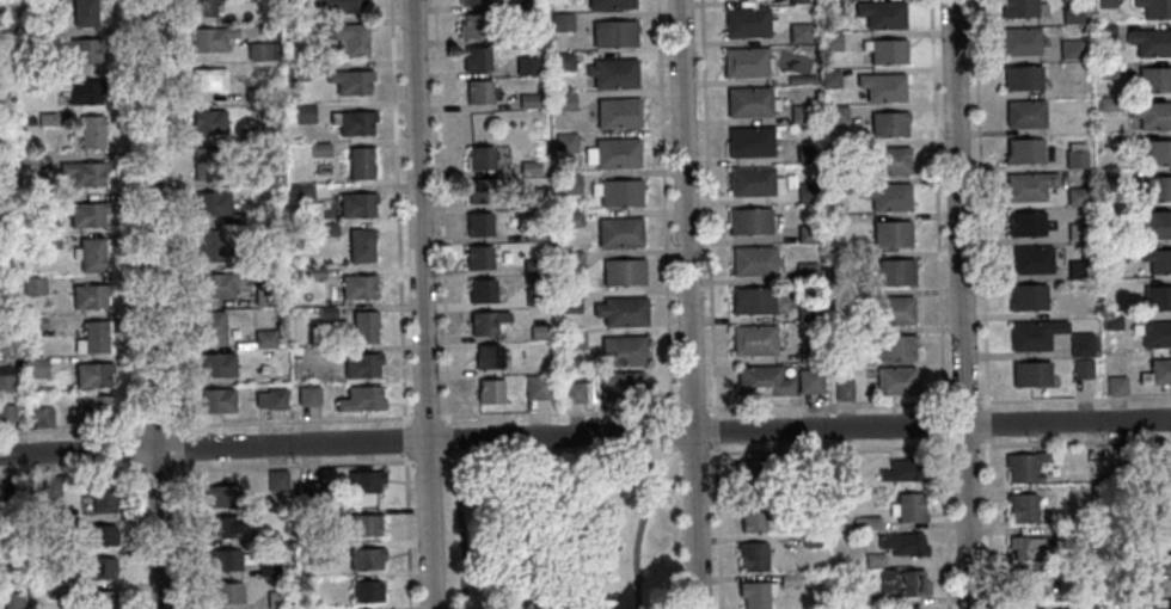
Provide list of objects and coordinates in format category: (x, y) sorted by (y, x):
building: (472, 1)
building: (799, 1)
building: (522, 4)
building: (608, 4)
building: (1105, 4)
building: (343, 5)
building: (833, 6)
building: (203, 7)
building: (1022, 7)
building: (1154, 8)
building: (84, 12)
building: (883, 13)
building: (1071, 14)
building: (1, 19)
building: (560, 21)
building: (749, 23)
building: (474, 26)
building: (613, 32)
building: (801, 32)
building: (1104, 32)
building: (525, 33)
building: (26, 38)
building: (210, 38)
building: (350, 38)
building: (833, 41)
building: (1020, 41)
building: (1151, 42)
building: (1071, 49)
building: (888, 50)
building: (82, 51)
building: (262, 51)
building: (476, 59)
building: (562, 61)
building: (747, 63)
building: (525, 66)
building: (1105, 68)
building: (295, 70)
building: (613, 72)
building: (45, 78)
building: (830, 78)
building: (1022, 78)
building: (803, 79)
building: (1154, 79)
building: (350, 80)
building: (208, 81)
building: (884, 85)
building: (81, 90)
building: (478, 92)
building: (255, 94)
building: (527, 100)
building: (563, 100)
building: (752, 101)
building: (1108, 104)
building: (305, 112)
building: (618, 112)
building: (802, 113)
building: (1025, 113)
building: (838, 115)
building: (1152, 115)
building: (45, 119)
building: (354, 121)
building: (207, 123)
building: (890, 123)
building: (92, 133)
building: (250, 136)
building: (752, 141)
building: (565, 143)
building: (848, 146)
building: (319, 149)
building: (1024, 150)
building: (613, 152)
building: (808, 152)
building: (1159, 152)
building: (1075, 155)
building: (480, 156)
building: (30, 159)
building: (893, 159)
building: (362, 161)
building: (206, 162)
building: (528, 167)
building: (82, 172)
building: (755, 182)
building: (568, 184)
building: (838, 185)
building: (1029, 185)
building: (1154, 187)
building: (480, 191)
building: (808, 191)
building: (617, 192)
building: (301, 193)
building: (889, 196)
building: (1075, 196)
building: (531, 198)
building: (211, 203)
building: (356, 203)
road: (664, 210)
building: (85, 213)
building: (262, 213)
road: (441, 213)
road: (398, 214)
road: (129, 217)
road: (172, 217)
building: (570, 219)
building: (752, 221)
building: (1025, 223)
building: (478, 224)
building: (1154, 224)
building: (327, 229)
building: (619, 232)
building: (809, 232)
building: (1077, 232)
building: (893, 233)
building: (533, 234)
building: (48, 241)
building: (360, 244)
building: (210, 246)
building: (1112, 248)
building: (92, 253)
building: (478, 257)
building: (270, 259)
building: (1032, 259)
building: (571, 260)
building: (756, 260)
building: (842, 260)
building: (1158, 260)
building: (4, 264)
building: (533, 265)
building: (1078, 269)
building: (808, 270)
building: (314, 272)
building: (623, 272)
building: (894, 272)
building: (215, 284)
building: (36, 285)
building: (358, 285)
building: (482, 290)
building: (845, 294)
building: (91, 295)
building: (266, 296)
building: (534, 296)
building: (1028, 297)
building: (1157, 297)
building: (754, 300)
building: (569, 301)
road: (983, 303)
road: (152, 304)
road: (422, 304)
road: (688, 304)
road: (711, 304)
road: (940, 304)
road: (960, 304)
building: (809, 309)
building: (894, 309)
building: (621, 310)
building: (327, 312)
building: (1111, 321)
building: (486, 322)
building: (35, 324)
building: (364, 326)
building: (211, 327)
building: (538, 332)
building: (1035, 333)
building: (1155, 333)
building: (844, 334)
building: (92, 337)
building: (572, 338)
building: (265, 339)
building: (280, 339)
building: (755, 340)
building: (1080, 344)
building: (897, 347)
building: (623, 350)
building: (810, 350)
building: (295, 356)
building: (488, 357)
building: (217, 364)
building: (362, 364)
building: (36, 368)
building: (1081, 368)
building: (1157, 371)
building: (93, 374)
building: (1030, 374)
building: (811, 380)
building: (897, 380)
building: (765, 381)
building: (7, 382)
building: (537, 386)
building: (621, 386)
building: (1116, 386)
building: (489, 390)
building: (574, 390)
building: (845, 390)
building: (308, 395)
building: (271, 398)
building: (361, 398)
building: (216, 400)
building: (92, 407)
road: (804, 410)
building: (7, 412)
building: (44, 416)
road: (427, 420)
road: (292, 424)
road: (158, 429)
road: (73, 431)
road: (672, 435)
road: (584, 436)
road: (448, 439)
road: (406, 442)
road: (136, 449)
road: (179, 449)
road: (903, 449)
road: (672, 451)
road: (448, 456)
building: (1118, 456)
road: (443, 461)
building: (842, 462)
building: (1166, 462)
road: (427, 463)
building: (814, 463)
road: (554, 466)
building: (1024, 466)
road: (293, 467)
building: (903, 469)
road: (157, 470)
road: (450, 473)
road: (72, 474)
building: (754, 474)
building: (276, 480)
building: (364, 480)
building: (557, 485)
building: (50, 486)
building: (7, 490)
building: (308, 492)
building: (99, 496)
building: (222, 496)
building: (1169, 499)
building: (784, 500)
building: (1022, 506)
building: (909, 507)
building: (752, 516)
building: (314, 518)
building: (869, 522)
building: (366, 524)
building: (222, 525)
building: (49, 528)
road: (407, 533)
park: (564, 534)
building: (99, 535)
road: (137, 535)
road: (180, 535)
building: (1166, 535)
building: (266, 536)
building: (810, 540)
building: (902, 543)
building: (1029, 547)
building: (315, 549)
building: (752, 555)
building: (366, 556)
building: (227, 559)
building: (873, 560)
building: (99, 567)
building: (1163, 568)
building: (268, 570)
building: (787, 580)
building: (901, 583)
building: (1109, 583)
building: (1025, 584)
building: (367, 590)
building: (55, 592)
building: (226, 592)
building: (754, 593)
building: (100, 599)
building: (277, 599)
building: (12, 601)
building: (1169, 604)
building: (1110, 605)
building: (911, 608)

